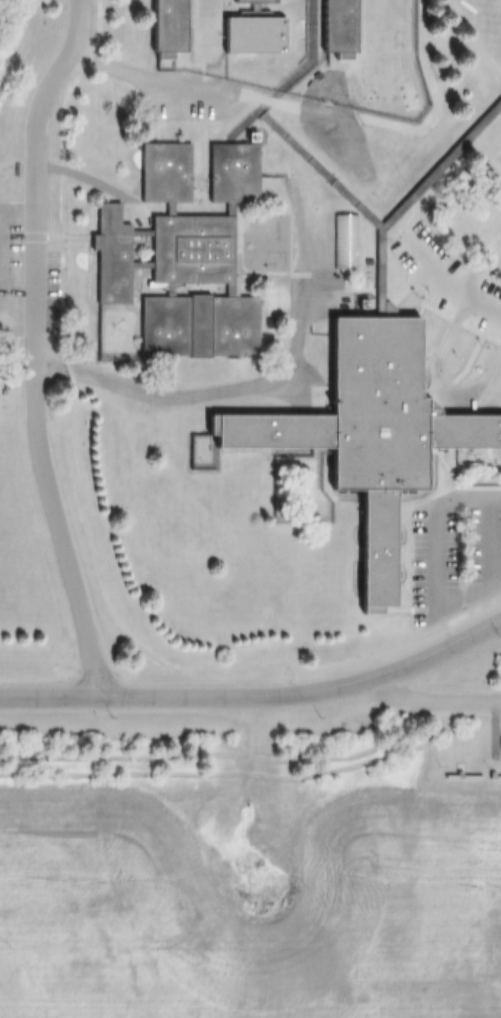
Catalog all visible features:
building: (248, 1)
park: (484, 11)
building: (160, 27)
building: (331, 27)
building: (245, 36)
road: (141, 81)
building: (498, 134)
building: (299, 156)
road: (95, 186)
road: (18, 215)
building: (189, 254)
road: (447, 279)
road: (17, 327)
road: (35, 347)
road: (214, 393)
building: (362, 433)
road: (437, 553)
road: (258, 697)
road: (435, 700)

